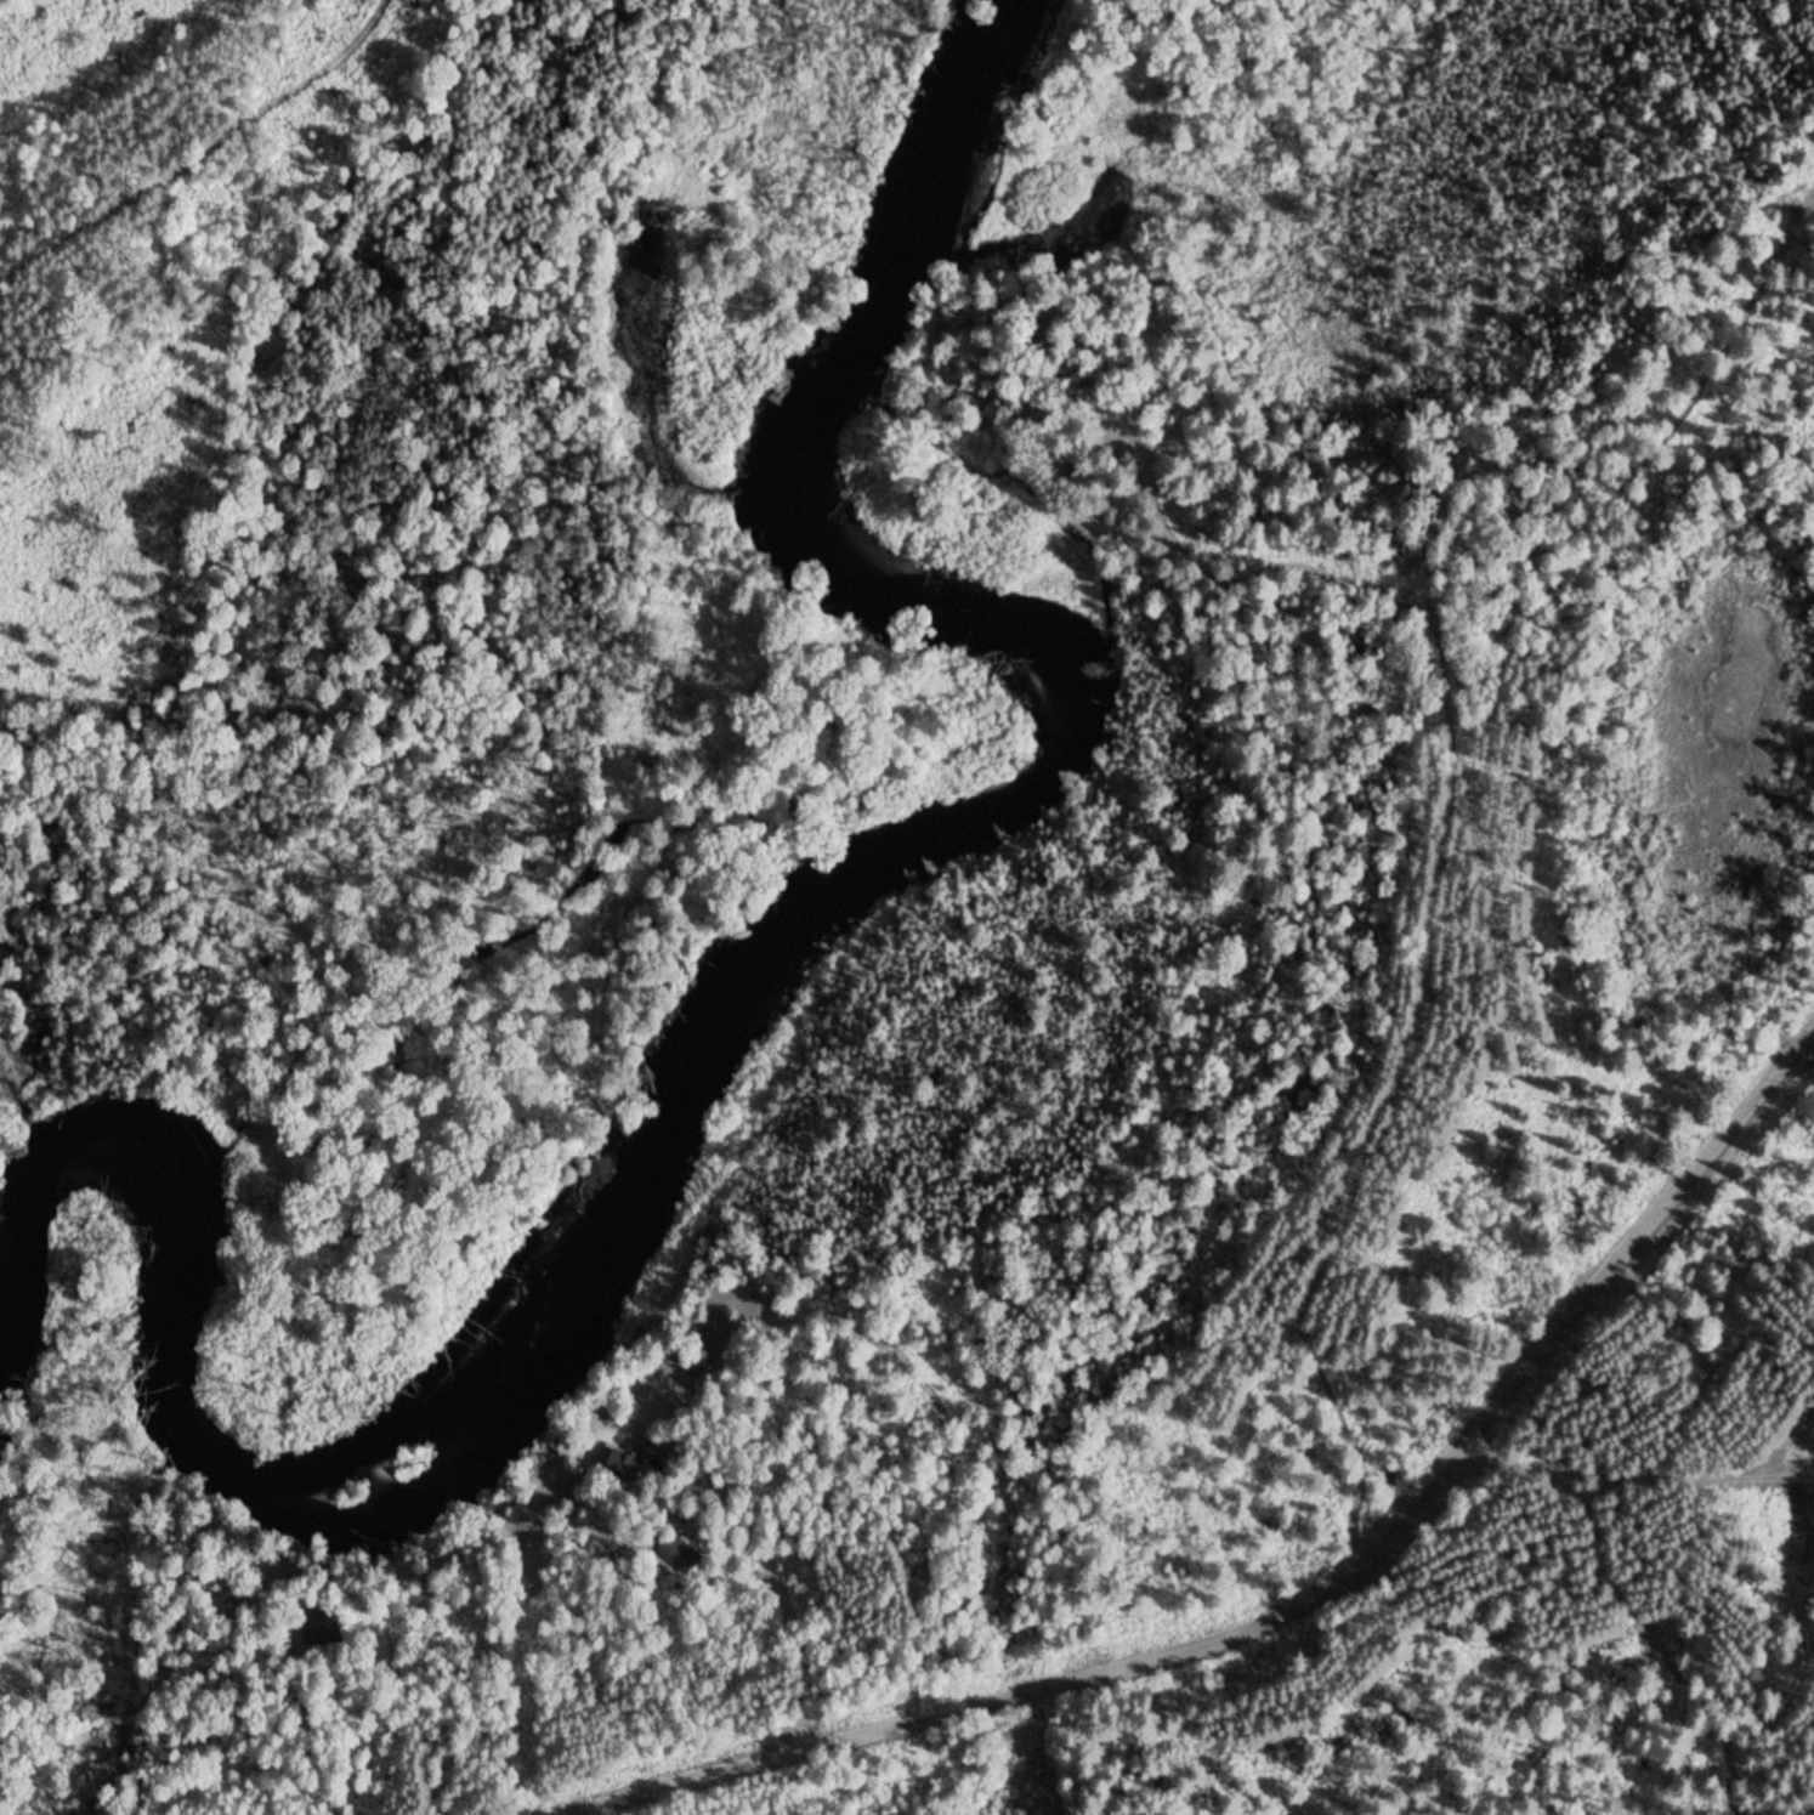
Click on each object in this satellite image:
road: (199, 144)
road: (1611, 447)
road: (1421, 987)
river: (733, 1026)
building: (659, 1442)
building: (625, 1460)
building: (681, 1552)
road: (786, 1600)
road: (1302, 1601)
building: (327, 1627)

